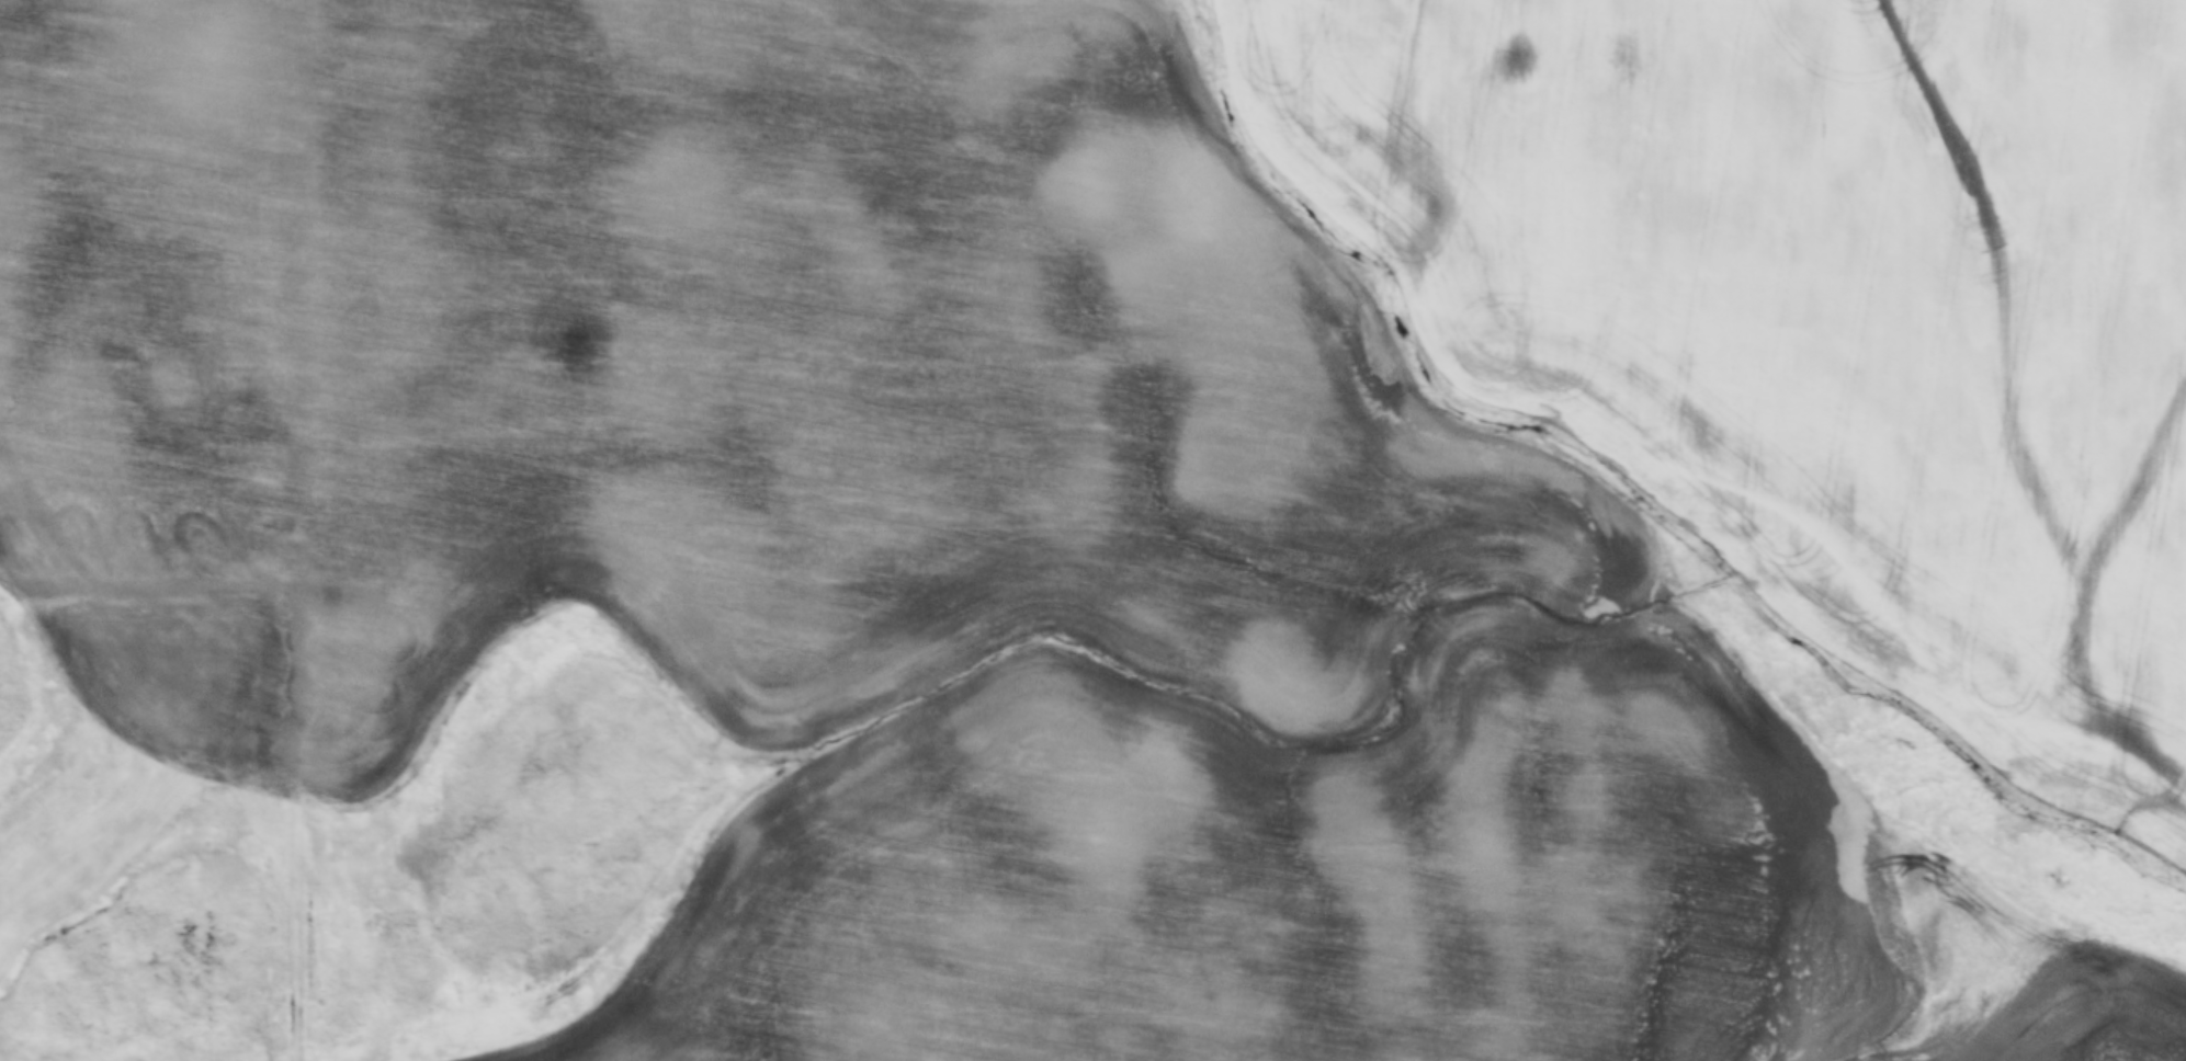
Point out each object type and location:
road: (307, 529)

